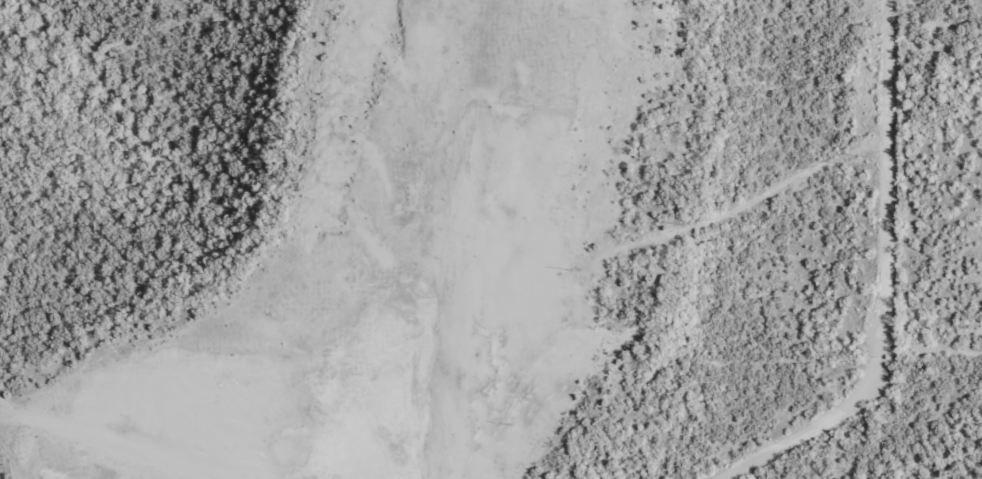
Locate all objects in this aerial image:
road: (878, 280)

